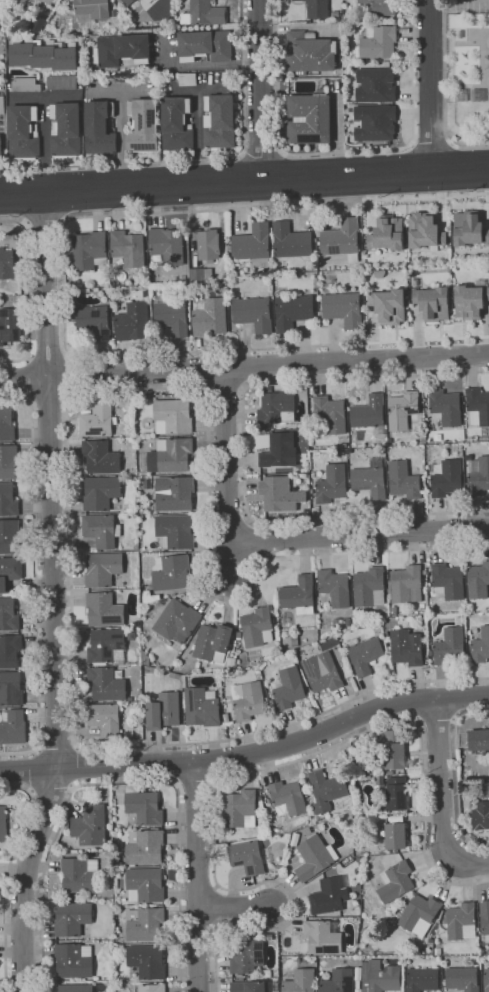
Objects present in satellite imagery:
building: (23, 0)
building: (127, 2)
building: (380, 6)
building: (93, 7)
building: (316, 8)
building: (206, 12)
building: (378, 42)
building: (204, 45)
building: (121, 48)
building: (309, 52)
building: (43, 56)
road: (215, 63)
road: (411, 72)
road: (276, 76)
building: (61, 81)
building: (25, 84)
building: (374, 84)
road: (429, 85)
road: (186, 89)
road: (258, 89)
road: (103, 91)
road: (28, 97)
building: (1, 105)
building: (308, 118)
building: (219, 120)
road: (199, 121)
building: (374, 122)
building: (176, 123)
building: (143, 125)
road: (120, 127)
building: (98, 128)
road: (44, 129)
building: (22, 131)
road: (431, 144)
road: (469, 146)
building: (0, 149)
road: (348, 151)
road: (260, 155)
road: (197, 158)
road: (244, 180)
road: (11, 221)
road: (45, 223)
building: (469, 228)
building: (425, 230)
building: (386, 233)
building: (342, 239)
building: (291, 241)
building: (210, 244)
building: (168, 245)
building: (254, 245)
building: (129, 247)
building: (90, 249)
building: (120, 259)
building: (7, 263)
building: (201, 274)
road: (65, 286)
road: (29, 300)
building: (470, 301)
building: (432, 303)
building: (388, 305)
building: (345, 308)
building: (294, 311)
building: (255, 313)
building: (173, 315)
building: (211, 317)
building: (95, 320)
building: (134, 321)
building: (10, 324)
road: (48, 355)
road: (244, 365)
road: (69, 374)
road: (29, 377)
road: (223, 388)
road: (50, 397)
building: (141, 404)
building: (477, 406)
building: (445, 407)
building: (278, 408)
building: (404, 410)
building: (332, 413)
building: (370, 414)
building: (174, 416)
building: (99, 420)
building: (7, 424)
building: (470, 439)
building: (279, 450)
road: (243, 451)
building: (171, 455)
building: (102, 456)
road: (68, 458)
building: (8, 461)
road: (225, 475)
building: (478, 475)
building: (372, 478)
building: (449, 478)
building: (405, 480)
building: (333, 484)
building: (102, 492)
building: (175, 493)
building: (281, 493)
building: (8, 499)
building: (102, 530)
building: (177, 530)
road: (366, 535)
building: (9, 536)
building: (104, 568)
building: (10, 572)
building: (172, 572)
road: (37, 578)
building: (479, 580)
building: (449, 581)
building: (407, 584)
building: (336, 587)
building: (371, 587)
road: (56, 594)
building: (300, 595)
building: (151, 597)
building: (105, 609)
building: (395, 610)
building: (9, 614)
building: (178, 621)
building: (343, 621)
building: (258, 627)
building: (240, 634)
building: (132, 635)
building: (296, 640)
building: (214, 642)
building: (108, 646)
building: (451, 646)
building: (408, 647)
building: (481, 647)
building: (10, 650)
building: (431, 652)
building: (365, 653)
building: (146, 657)
building: (232, 663)
building: (324, 672)
building: (185, 680)
building: (107, 683)
building: (11, 688)
building: (289, 688)
building: (131, 698)
building: (250, 700)
building: (202, 706)
building: (165, 709)
building: (227, 717)
building: (106, 719)
road: (436, 720)
building: (13, 726)
building: (479, 739)
building: (395, 749)
road: (59, 750)
building: (467, 752)
road: (249, 756)
road: (76, 766)
road: (252, 770)
building: (391, 772)
road: (457, 774)
building: (381, 779)
road: (441, 780)
road: (125, 782)
road: (197, 782)
building: (309, 783)
building: (486, 789)
building: (328, 790)
building: (397, 793)
building: (289, 797)
building: (269, 799)
building: (347, 800)
building: (262, 803)
building: (145, 806)
building: (241, 808)
building: (271, 811)
building: (481, 813)
building: (397, 818)
building: (4, 824)
building: (91, 825)
building: (395, 835)
building: (296, 838)
building: (145, 847)
building: (3, 852)
building: (316, 856)
building: (250, 857)
road: (467, 862)
road: (6, 873)
building: (81, 874)
road: (199, 876)
building: (397, 881)
building: (146, 885)
building: (331, 895)
road: (236, 909)
building: (420, 914)
building: (73, 918)
building: (485, 918)
building: (462, 921)
building: (146, 924)
building: (366, 931)
building: (324, 936)
building: (270, 937)
building: (122, 947)
building: (438, 951)
building: (248, 956)
building: (75, 960)
building: (145, 963)
building: (381, 976)
building: (242, 978)
building: (463, 978)
building: (423, 979)
building: (301, 981)
building: (339, 981)
building: (485, 981)
building: (252, 986)
building: (76, 987)
building: (153, 988)

